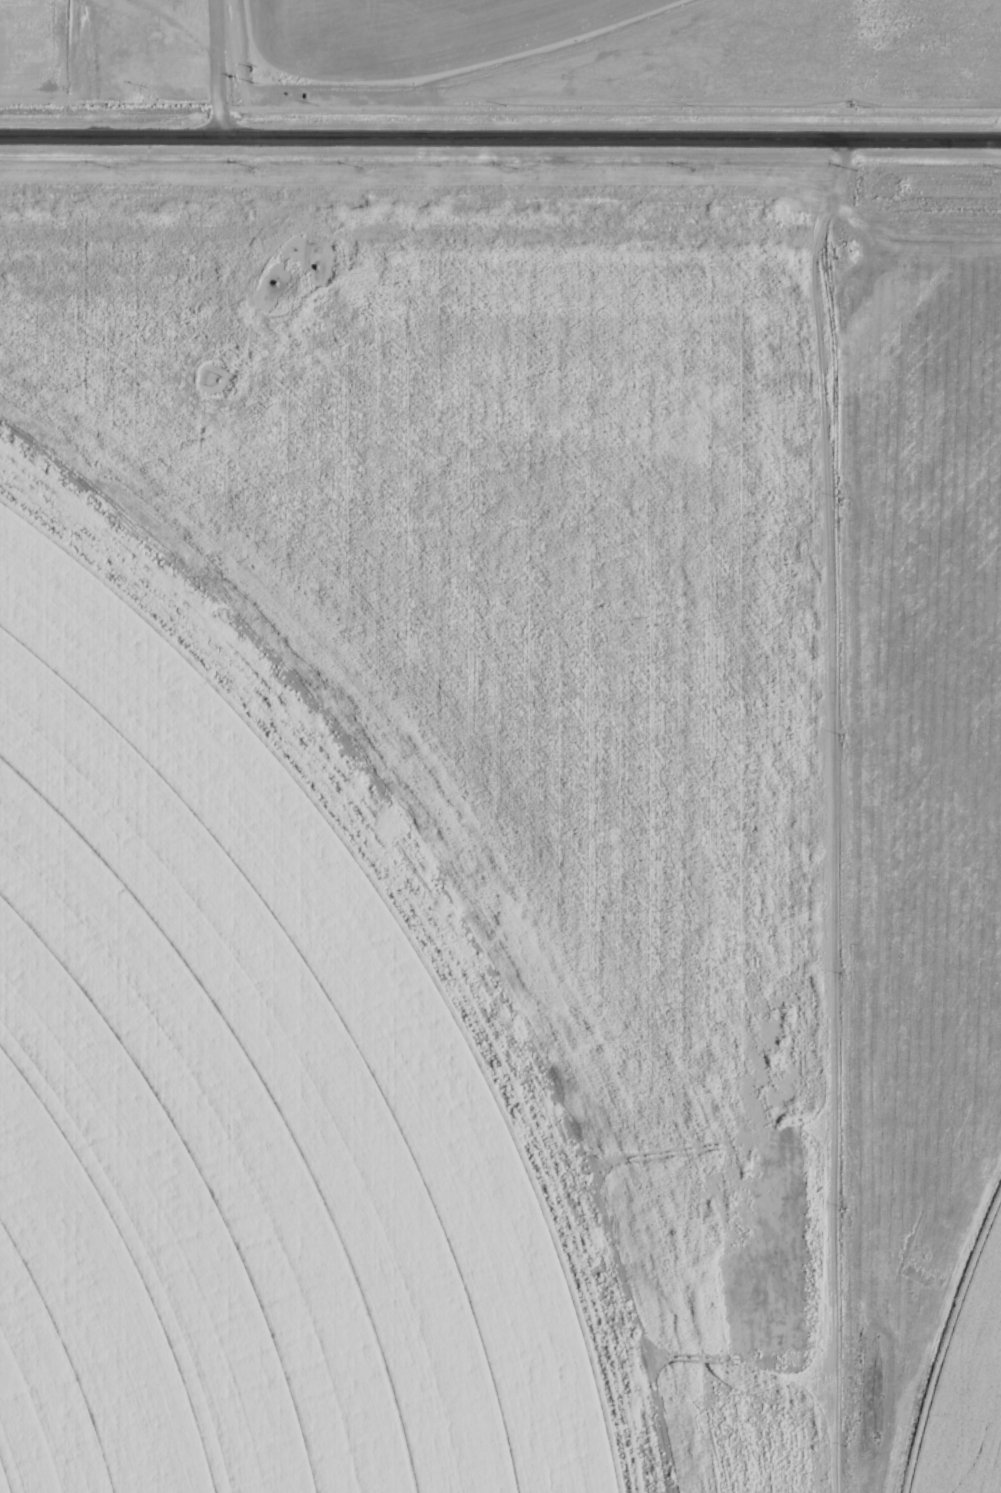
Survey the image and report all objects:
road: (500, 135)

